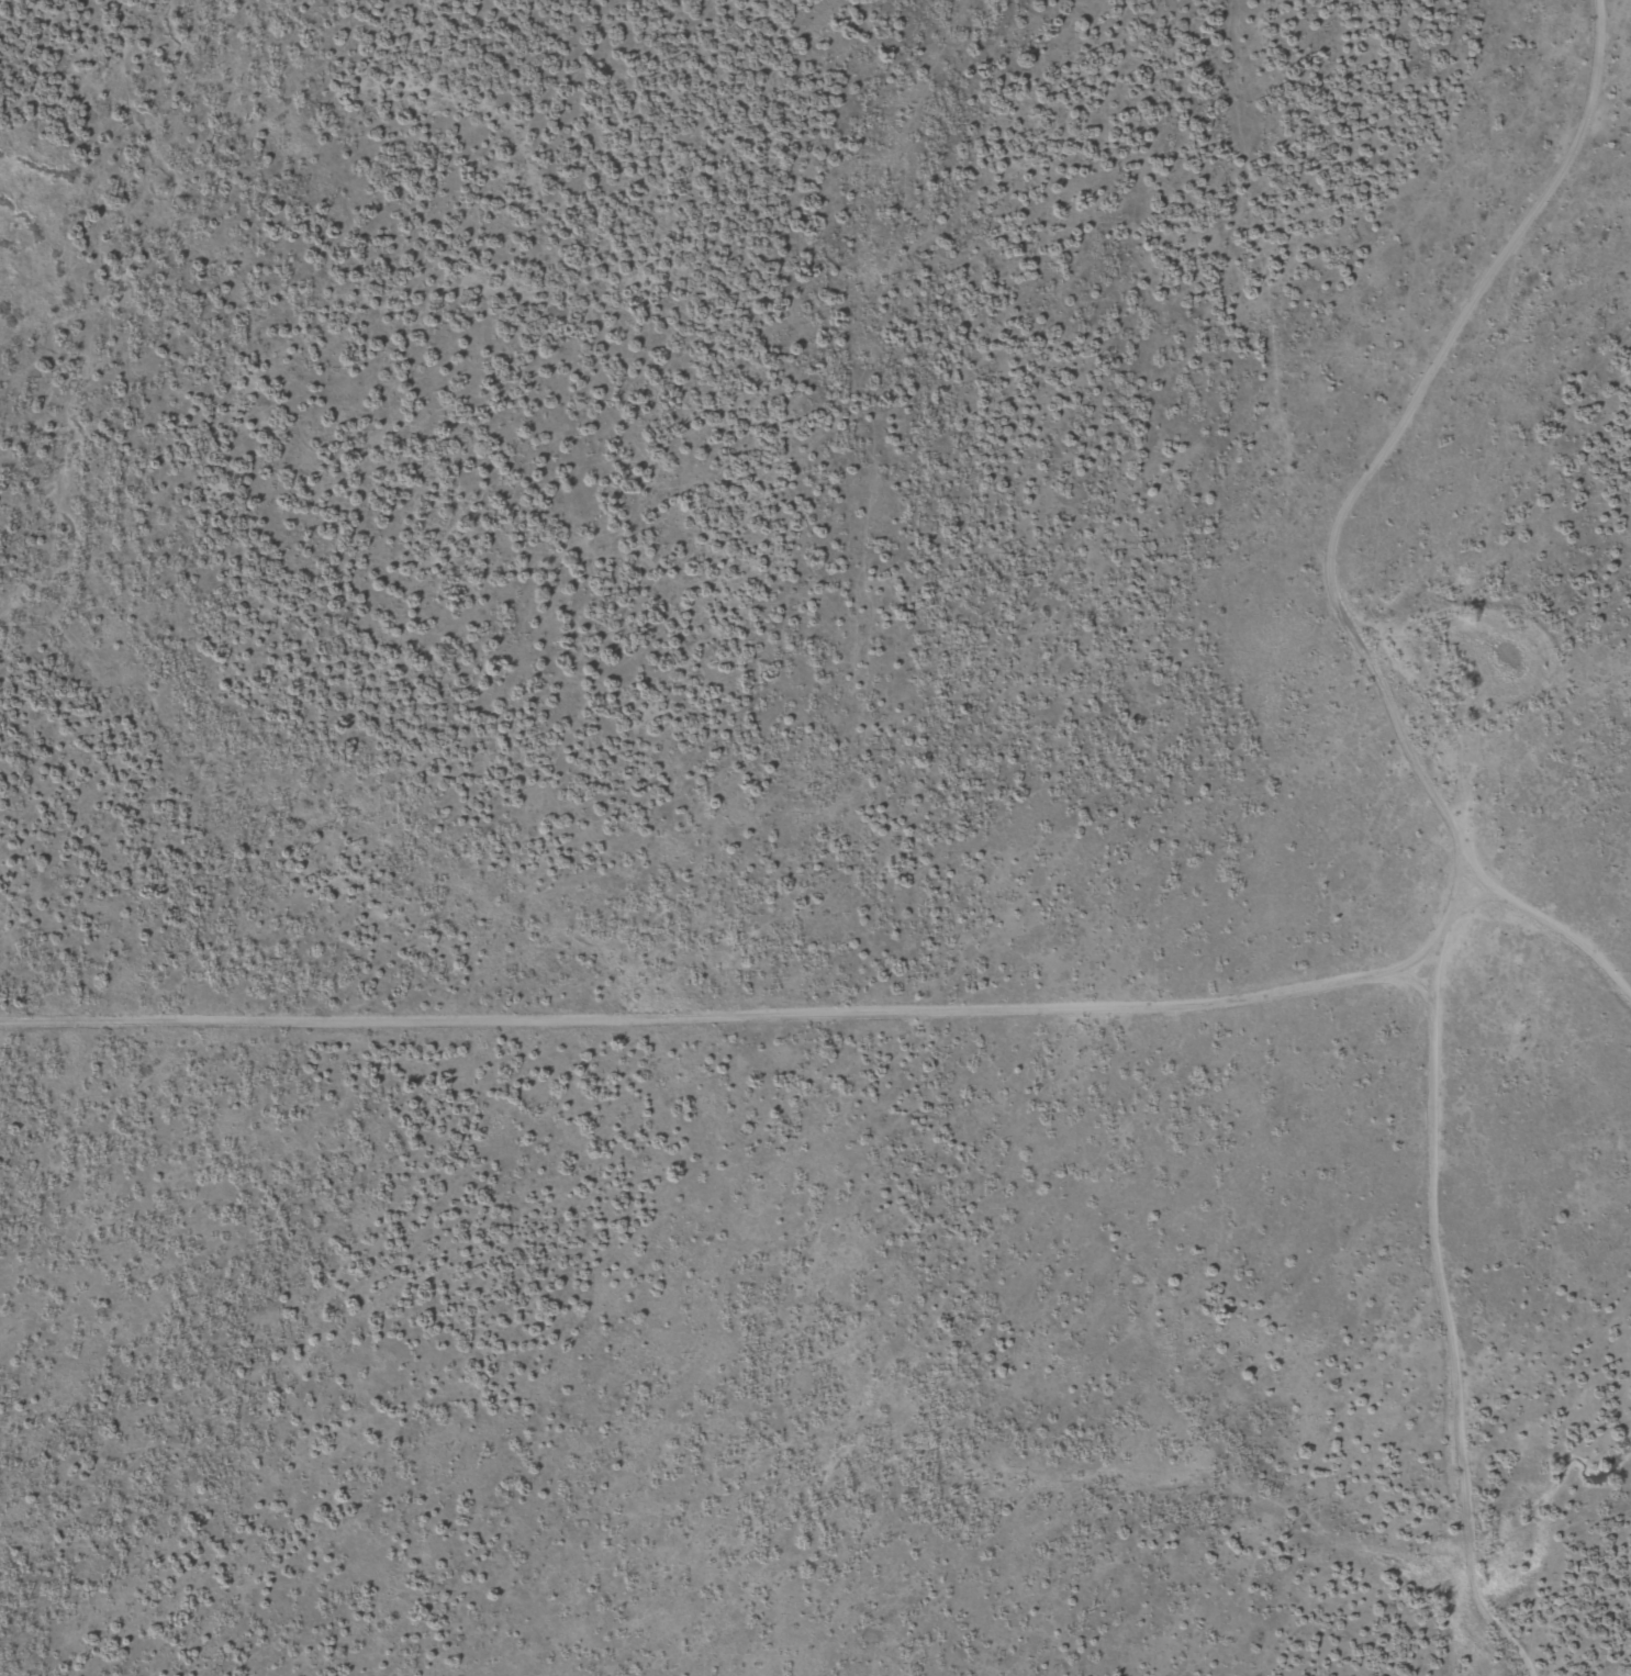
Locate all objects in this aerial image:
road: (1440, 795)
road: (1549, 959)

